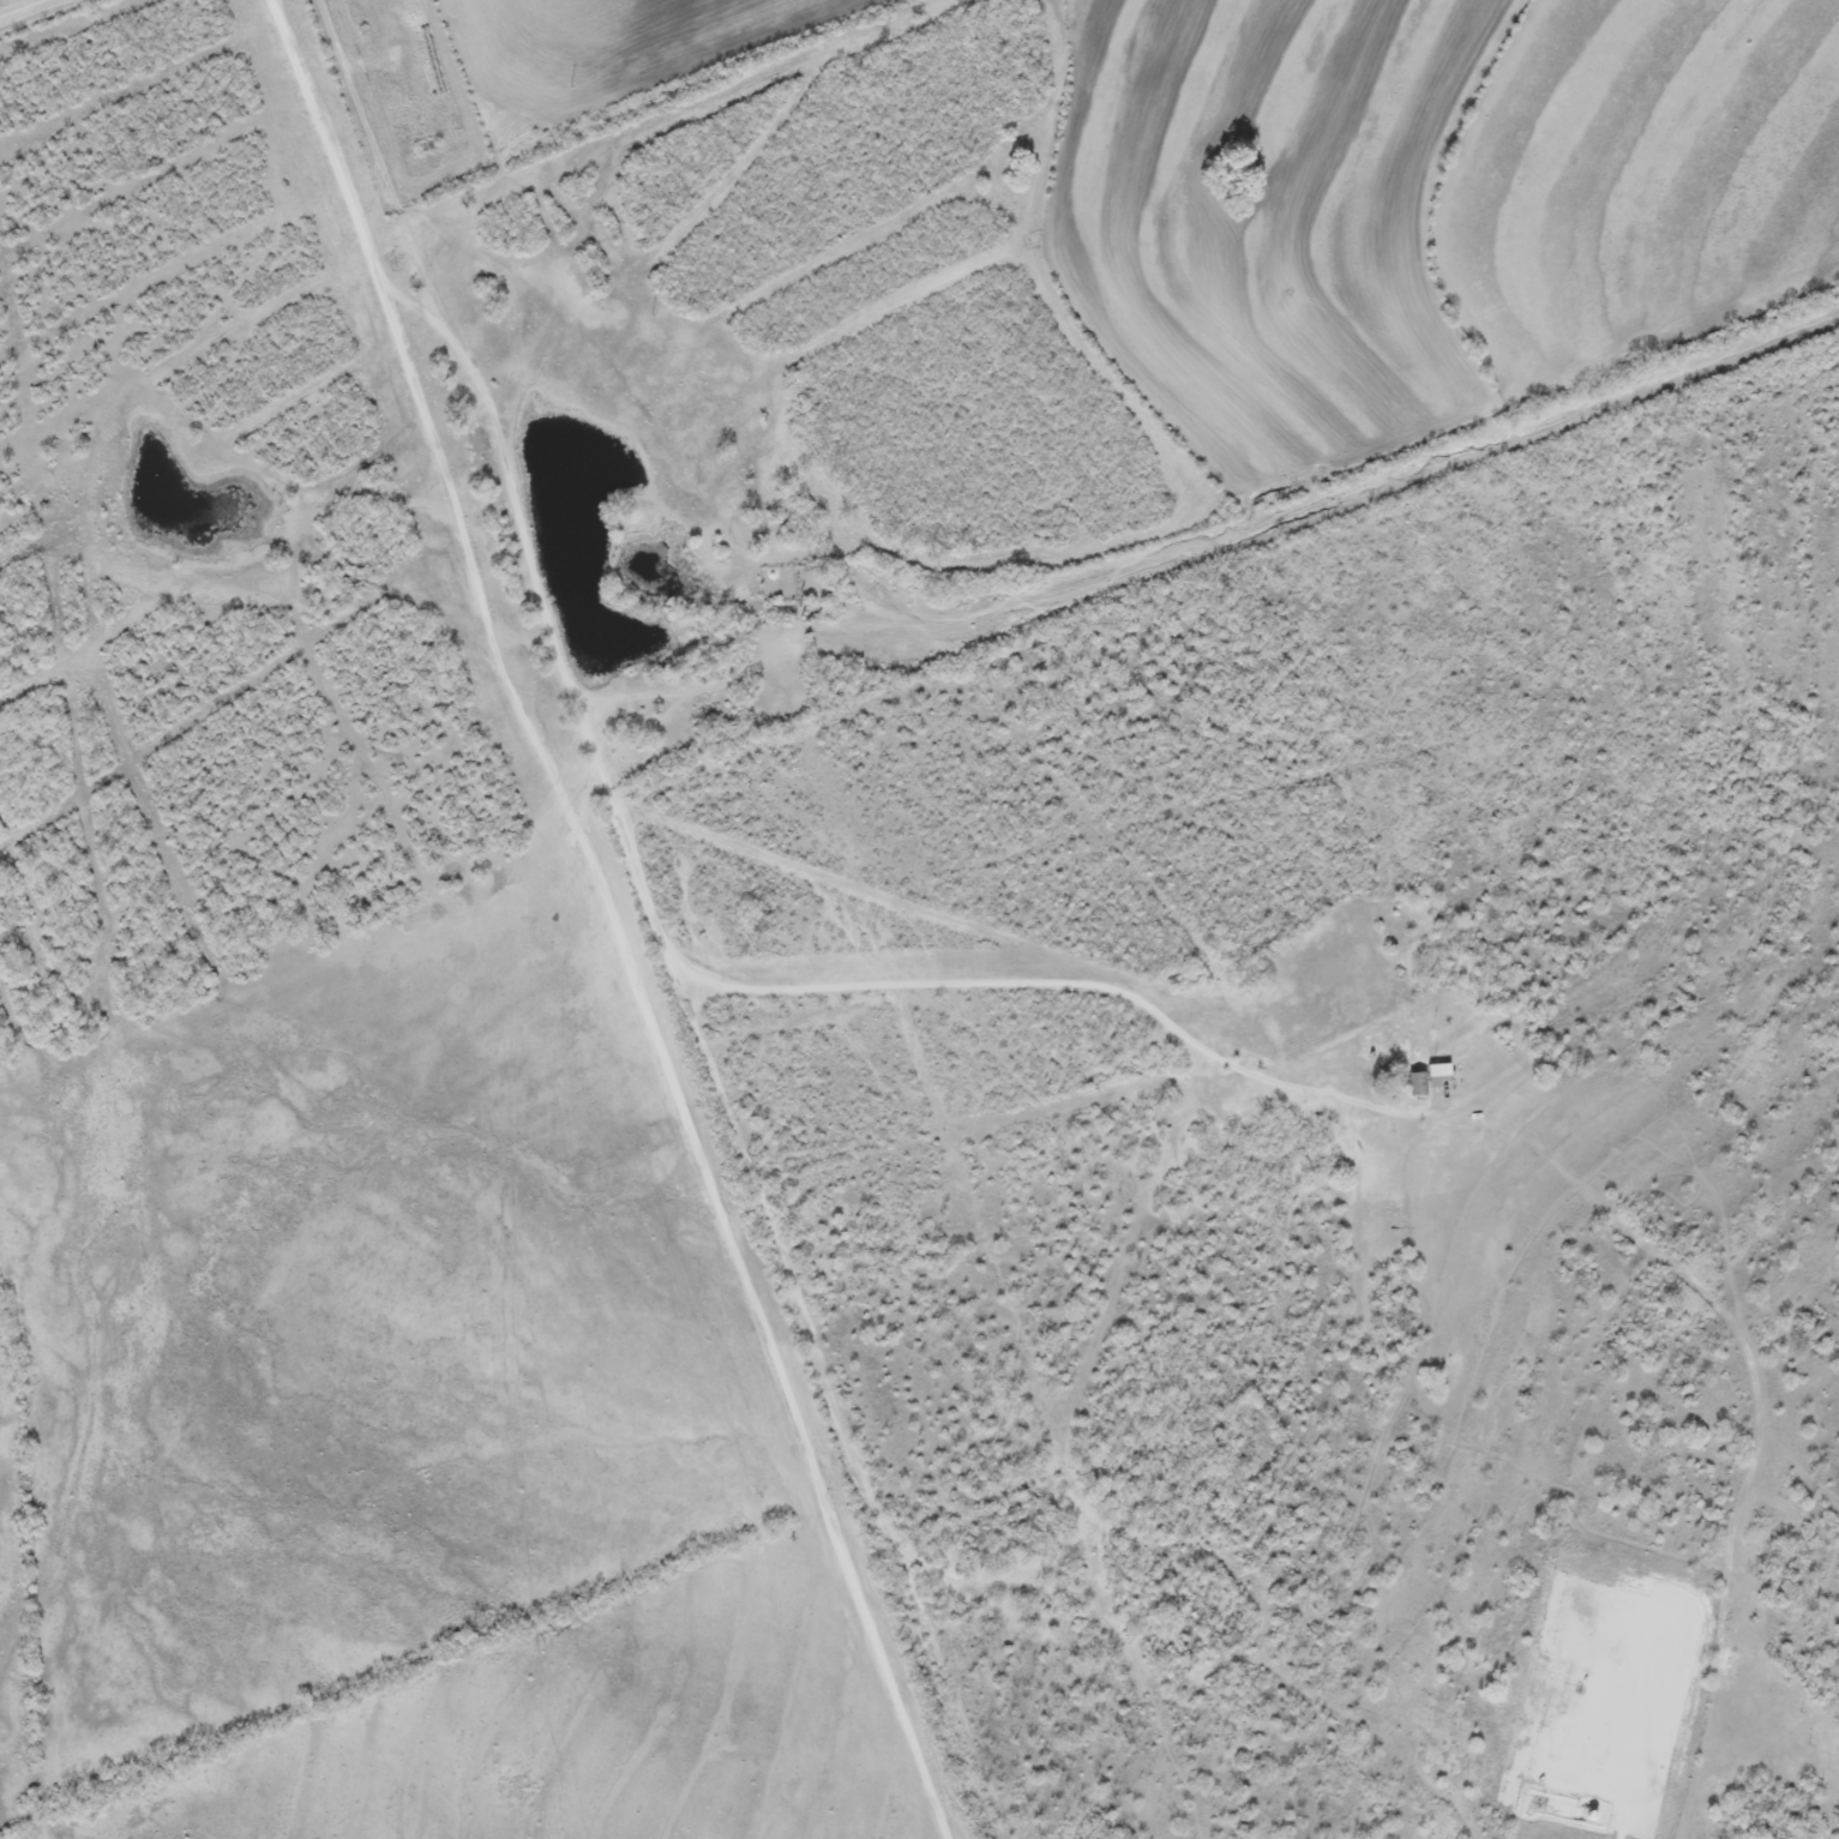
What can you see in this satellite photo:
road: (31, 11)
road: (425, 401)
building: (1434, 1069)
building: (1414, 1083)
road: (763, 1320)
road: (1628, 1834)

